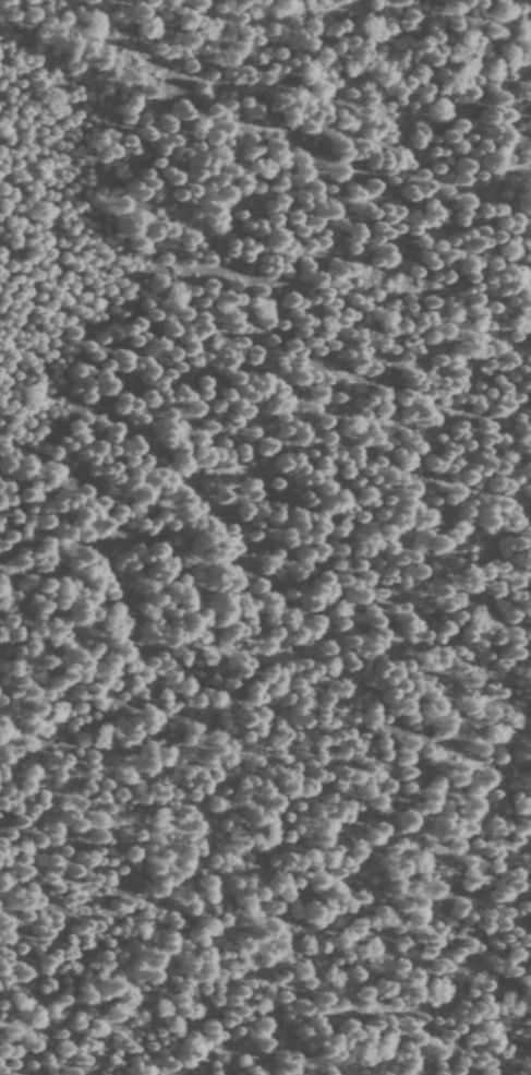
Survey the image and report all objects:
road: (517, 47)
road: (405, 910)

